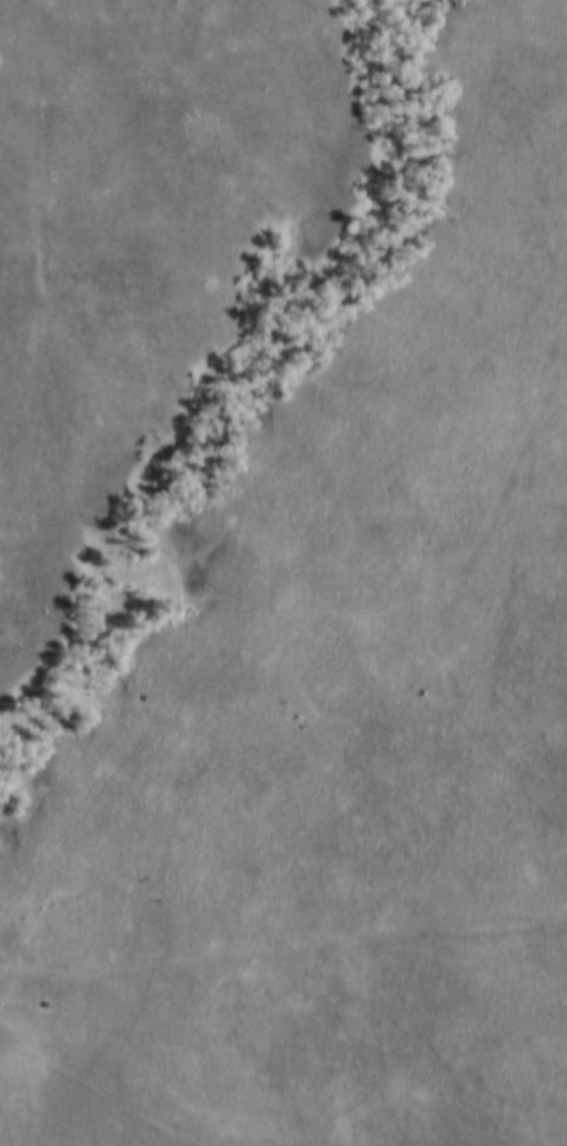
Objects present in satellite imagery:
road: (288, 594)

